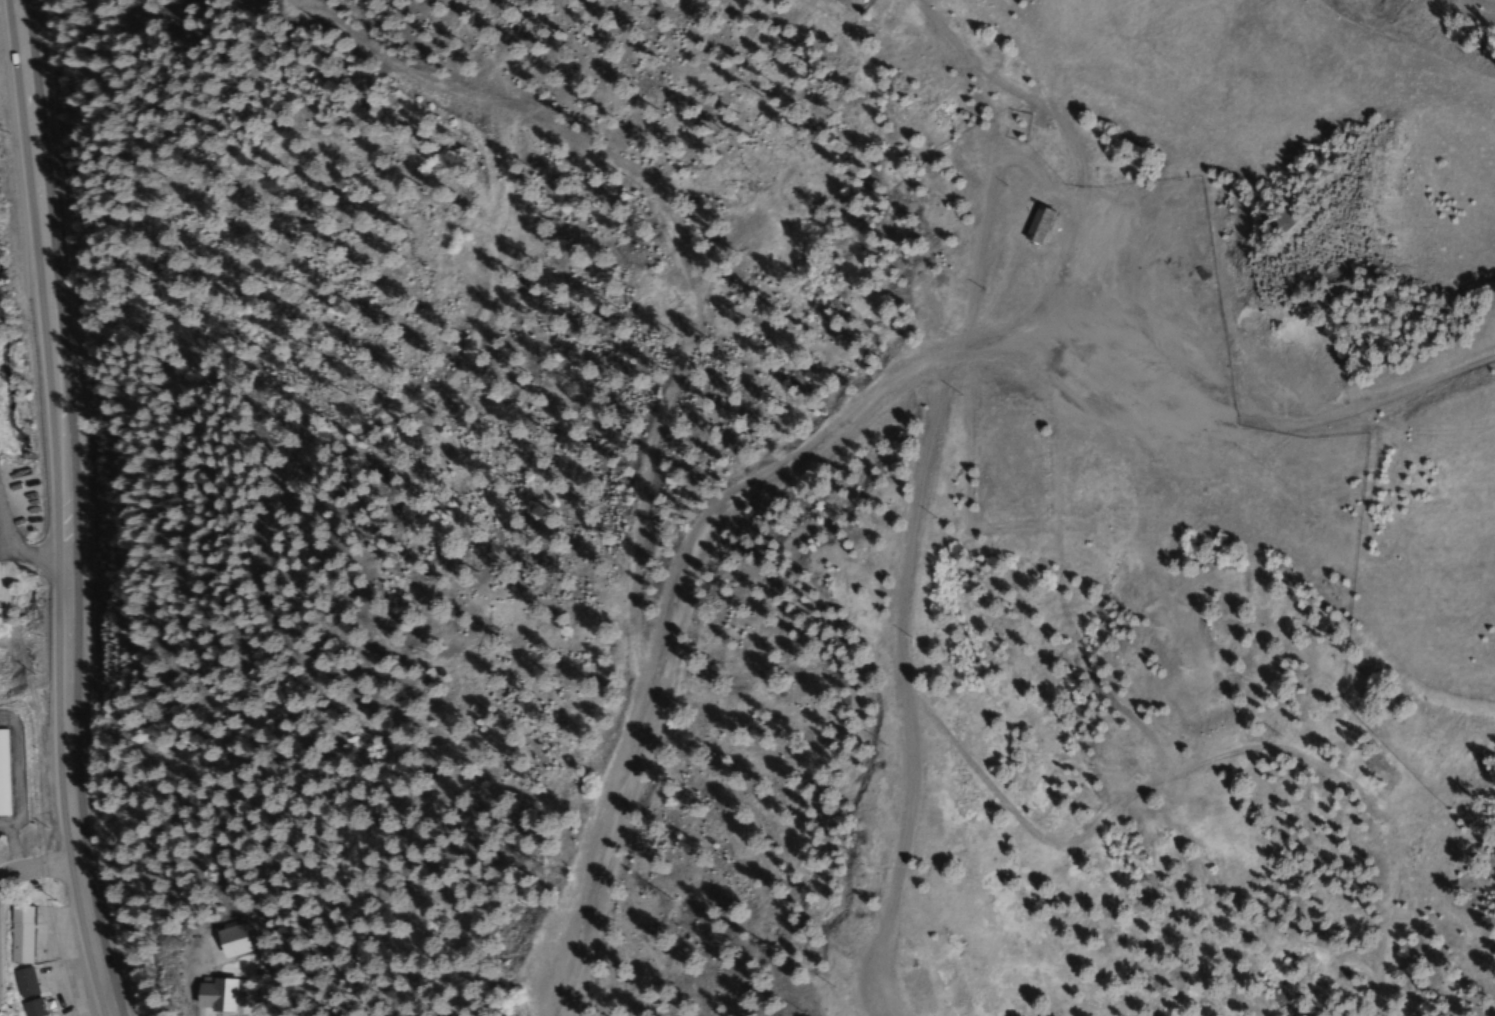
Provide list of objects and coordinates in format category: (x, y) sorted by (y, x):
building: (1036, 224)
building: (1092, 228)
road: (57, 286)
road: (23, 550)
building: (2, 774)
road: (80, 796)
road: (42, 868)
building: (20, 935)
building: (26, 992)
building: (210, 995)

